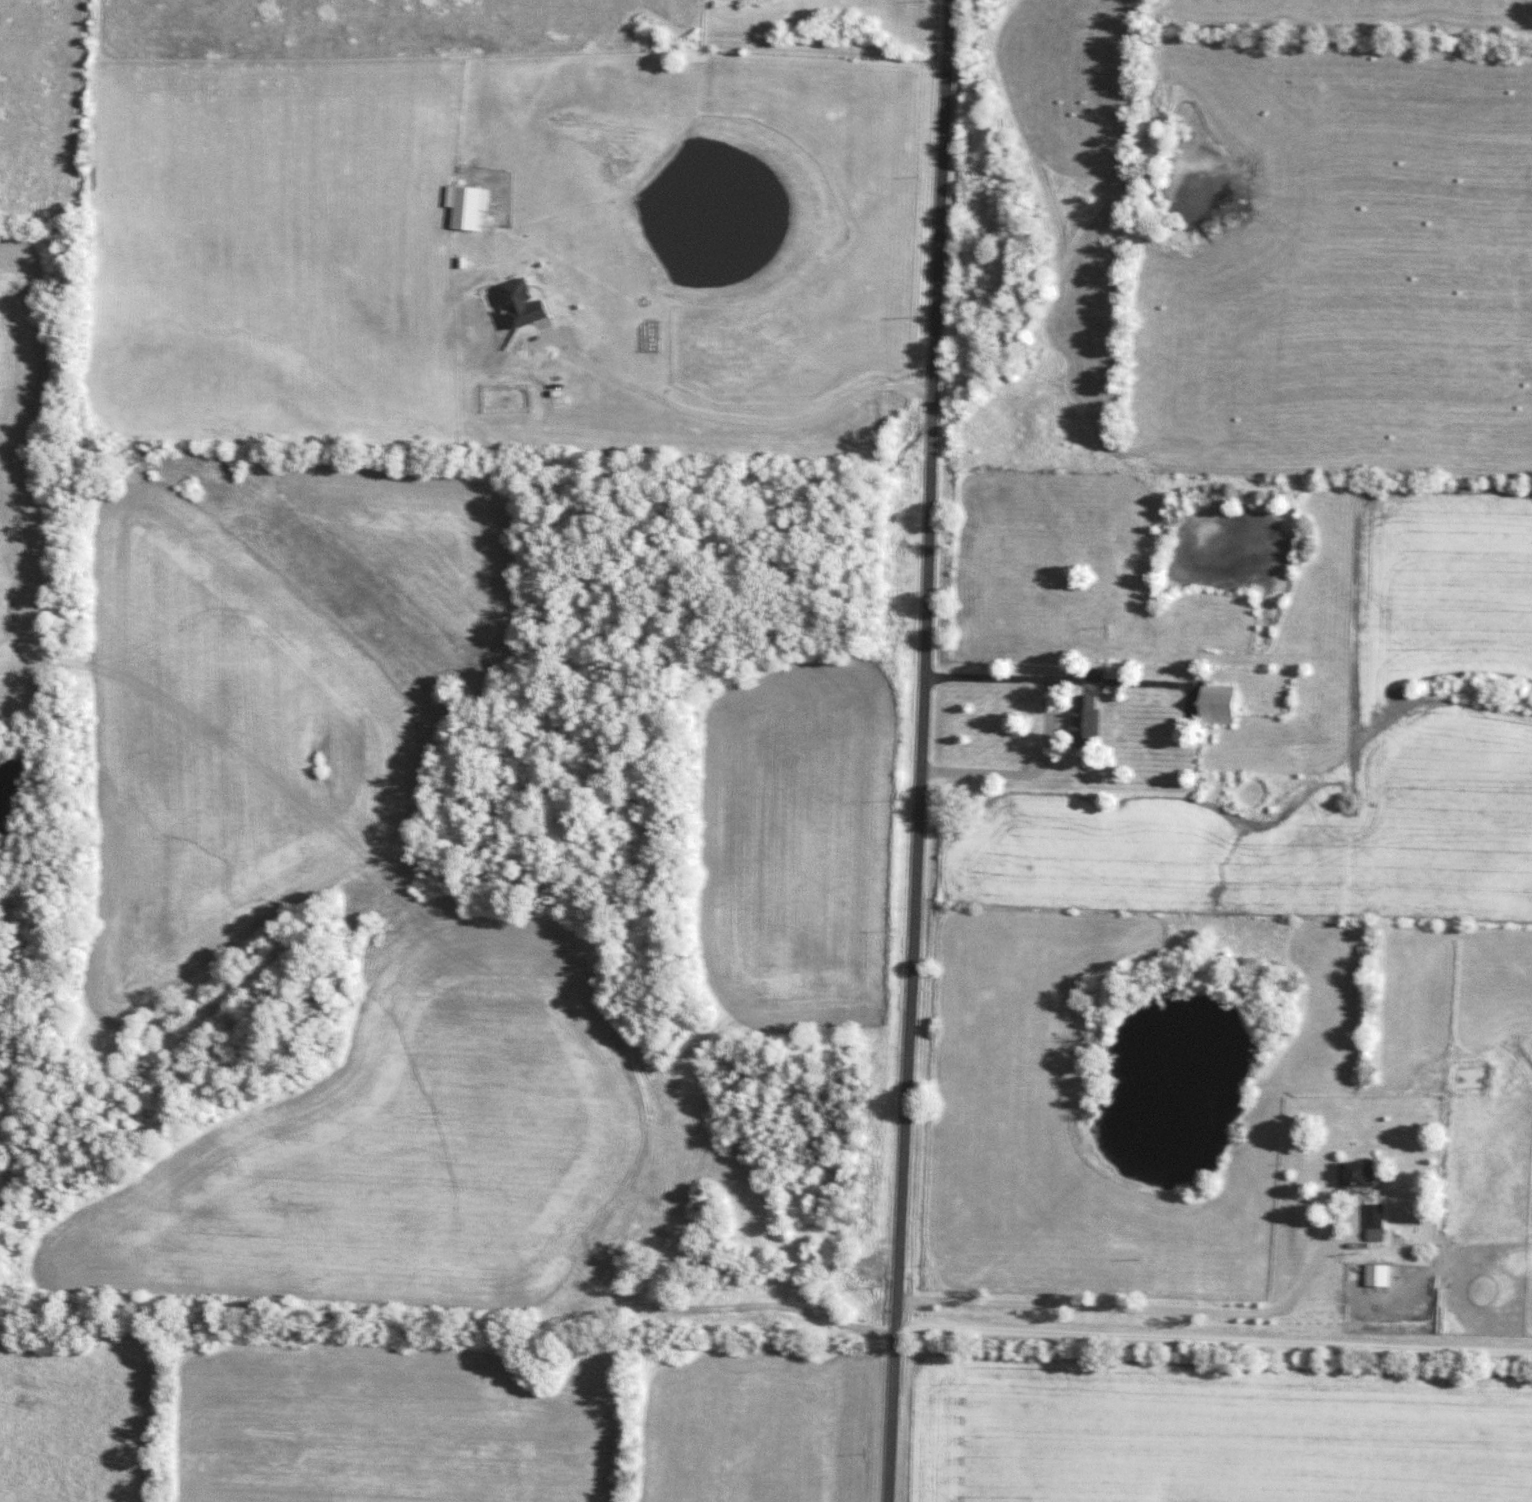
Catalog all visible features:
road: (733, 416)
building: (1223, 704)
building: (1081, 720)
road: (1044, 726)
road: (914, 750)
building: (1360, 1174)
building: (1378, 1223)
building: (1379, 1275)
road: (1126, 1308)
road: (1211, 1337)

